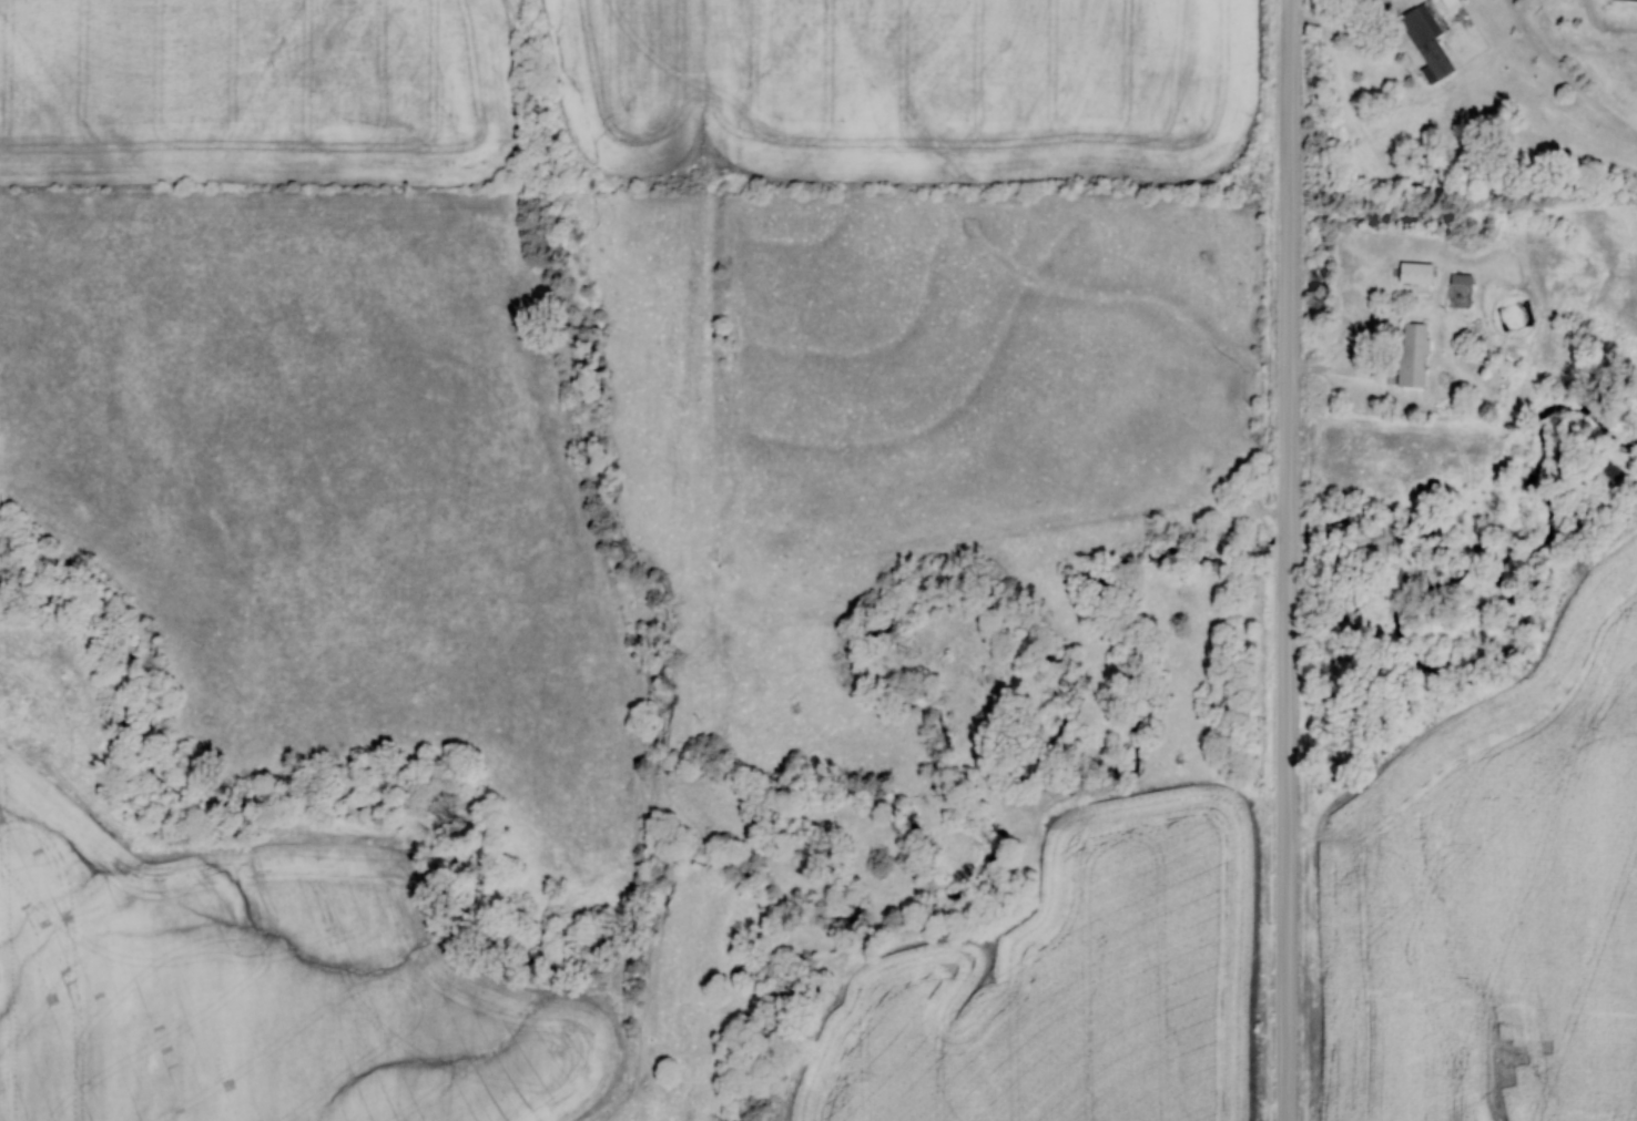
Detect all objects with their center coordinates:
building: (1450, 4)
road: (1385, 35)
building: (1425, 39)
building: (1413, 272)
building: (1411, 355)
road: (1291, 560)

